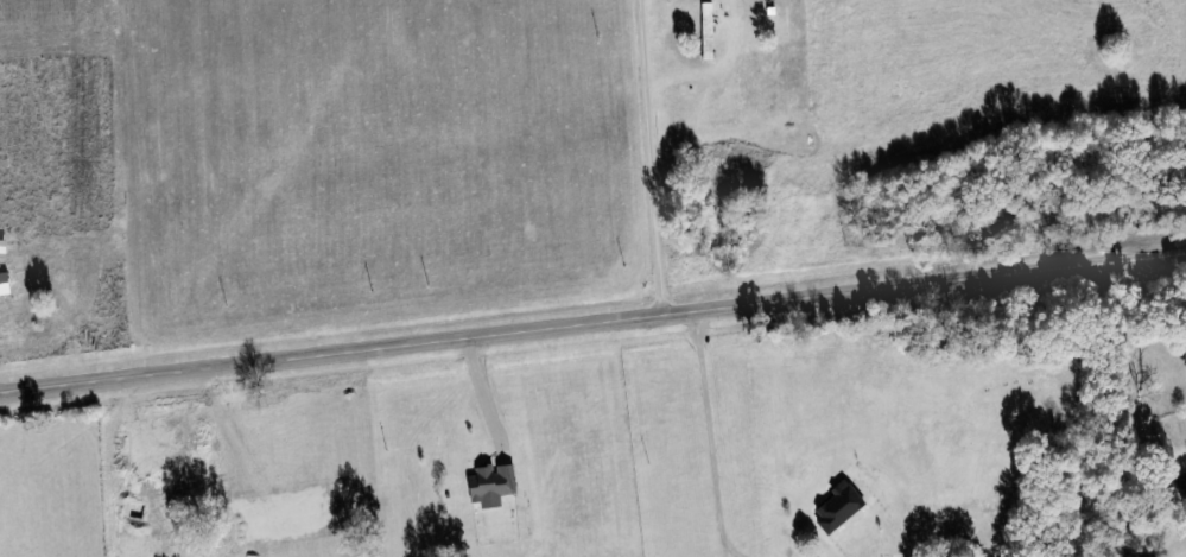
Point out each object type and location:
building: (704, 34)
road: (645, 157)
road: (592, 321)
road: (482, 392)
road: (709, 430)
building: (1181, 488)
road: (724, 553)
road: (732, 553)

